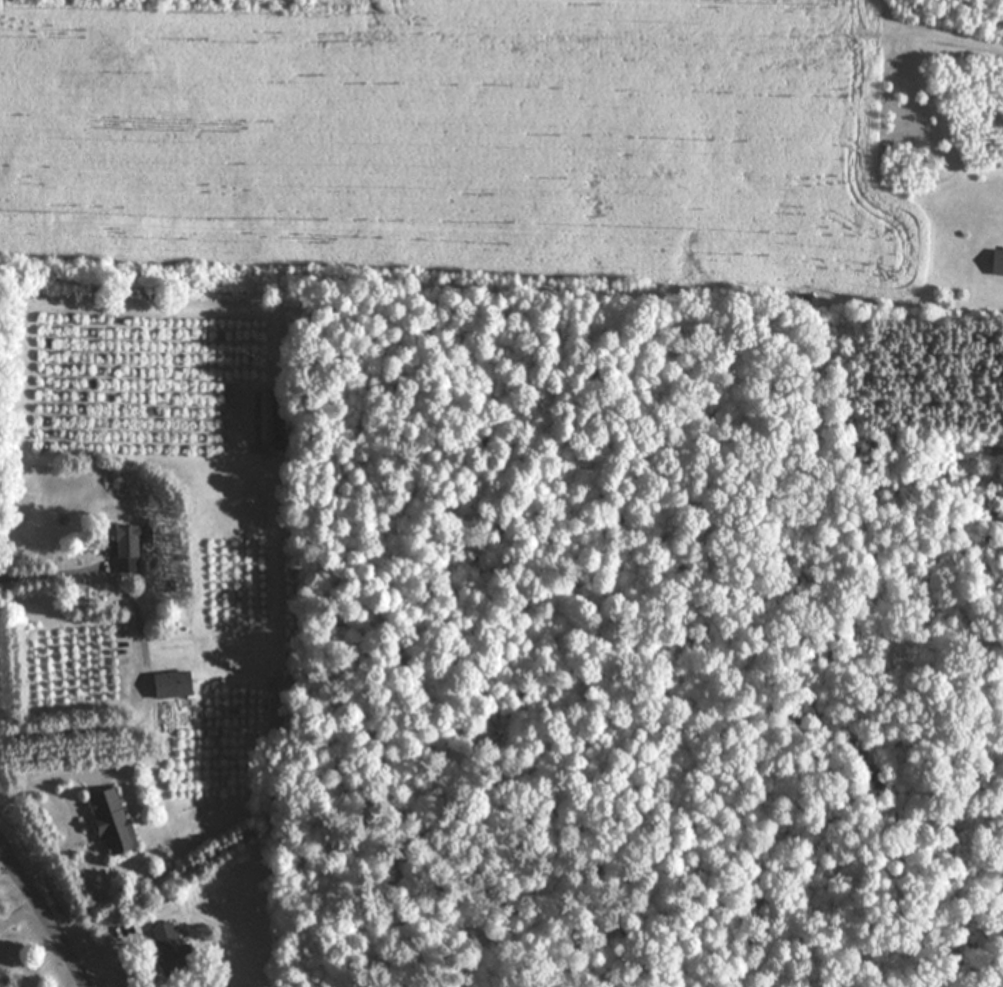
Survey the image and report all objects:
building: (999, 262)
building: (129, 549)
road: (147, 659)
building: (176, 684)
road: (48, 784)
building: (115, 822)
road: (67, 849)
road: (44, 911)
building: (171, 948)
road: (101, 959)

